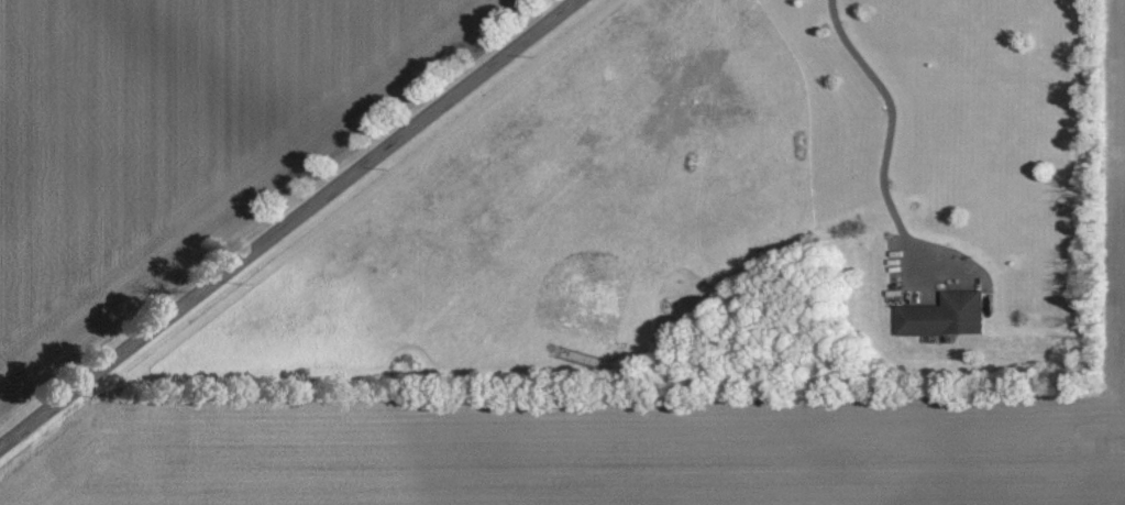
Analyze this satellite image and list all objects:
road: (889, 112)
road: (287, 222)
building: (947, 316)

